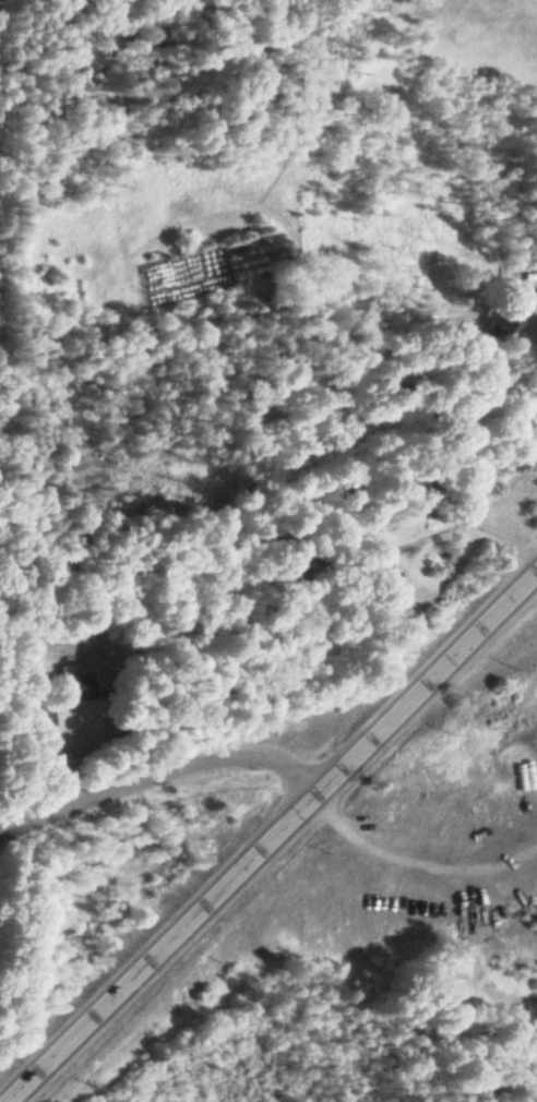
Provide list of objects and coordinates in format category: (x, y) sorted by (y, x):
road: (535, 284)
building: (501, 330)
building: (475, 465)
road: (445, 531)
building: (287, 567)
building: (389, 584)
building: (70, 691)
building: (38, 715)
road: (157, 776)
road: (271, 836)

